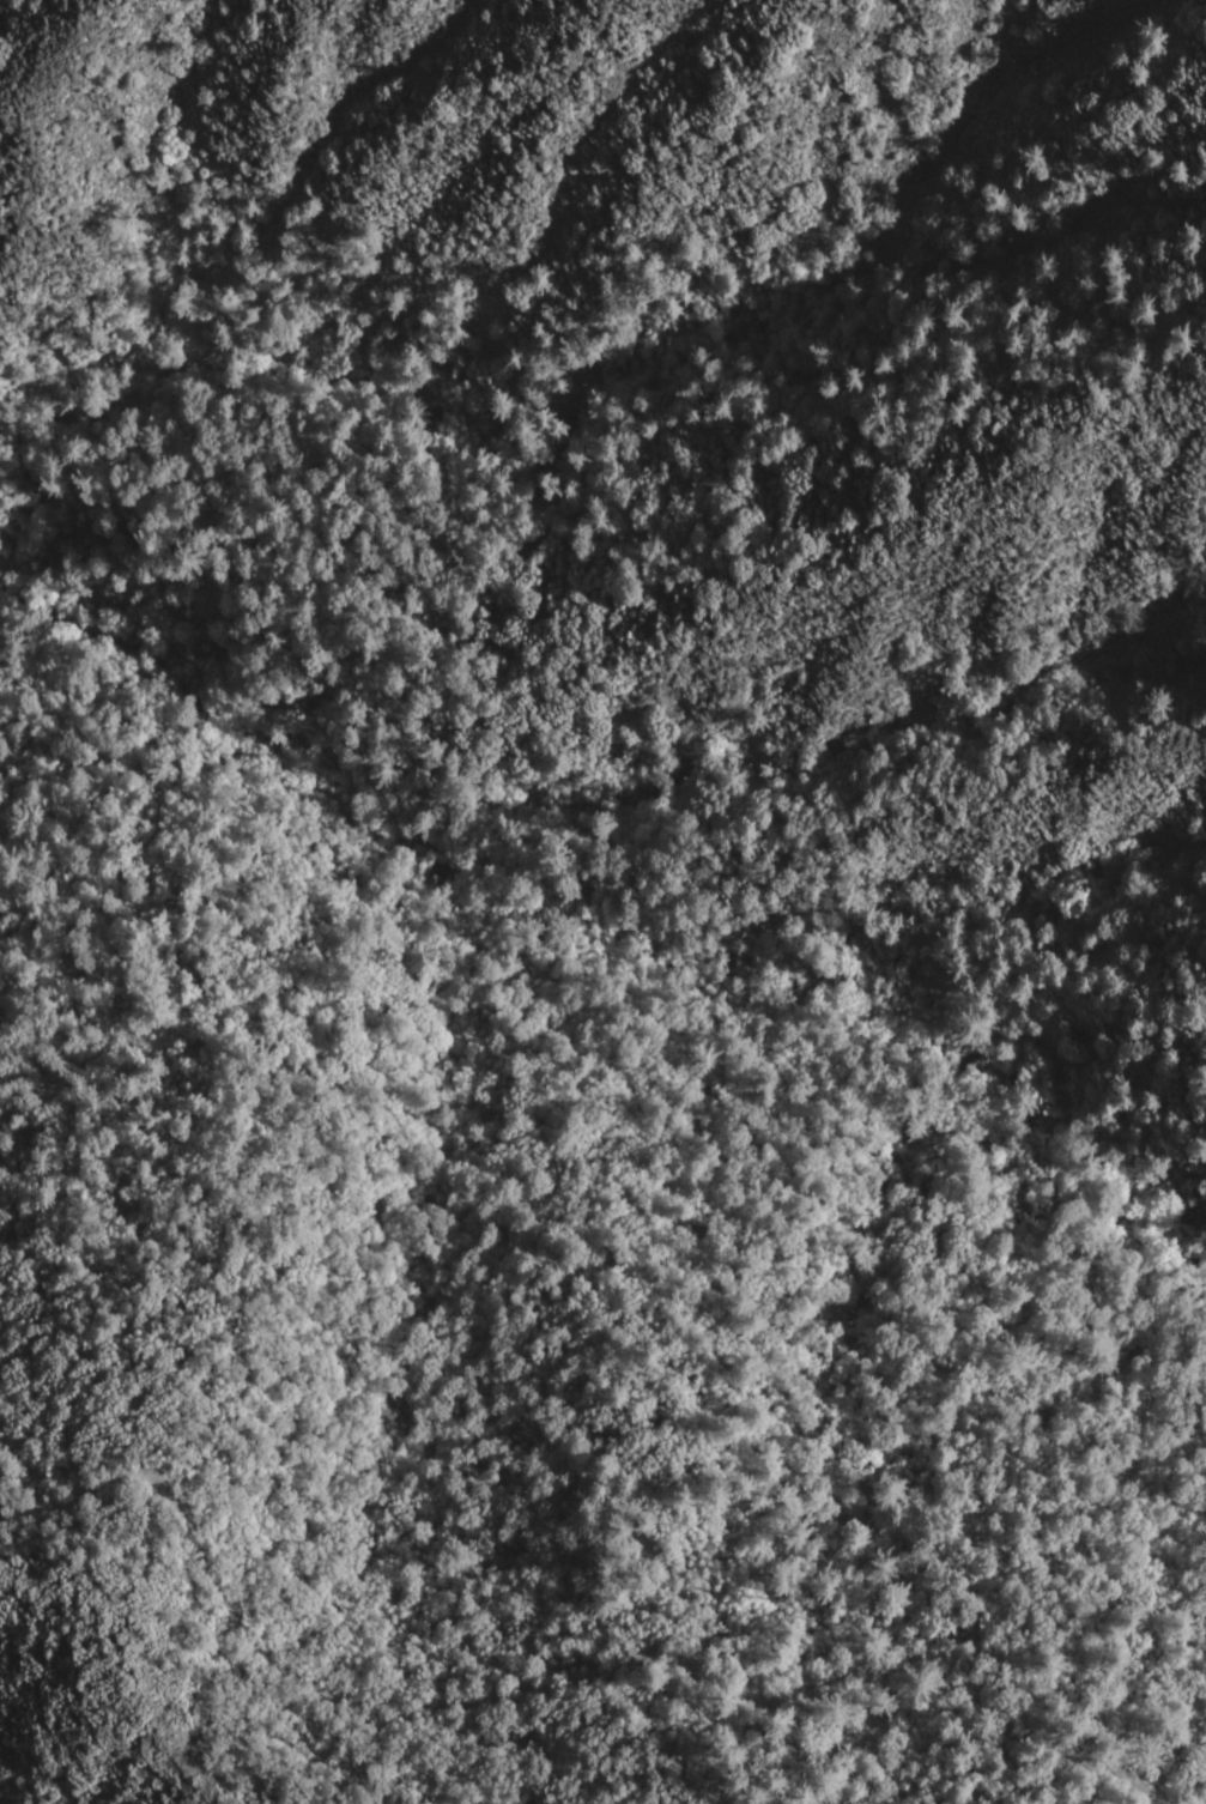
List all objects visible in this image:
road: (533, 1689)

